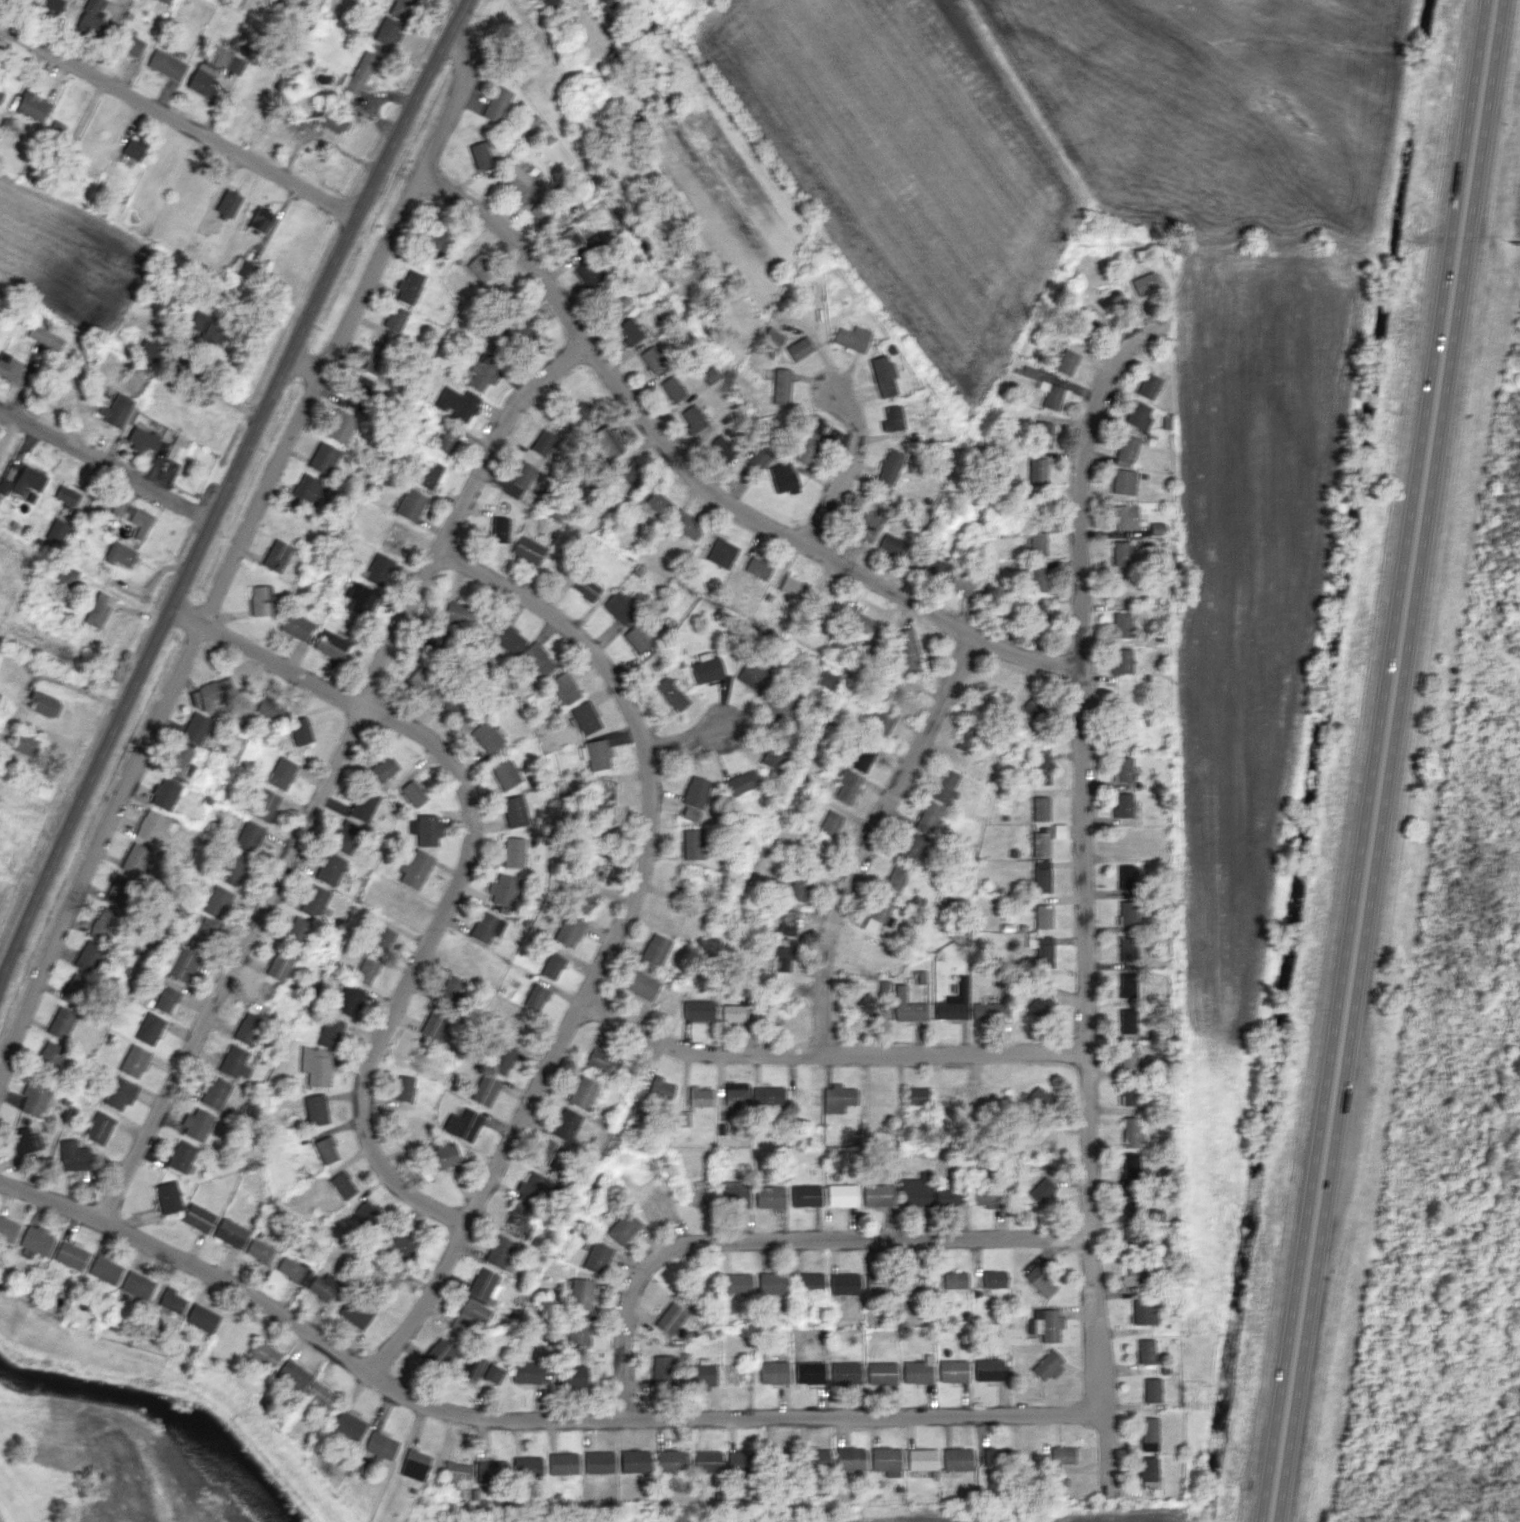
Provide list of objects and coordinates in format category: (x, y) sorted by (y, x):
road: (463, 105)
road: (410, 106)
road: (178, 119)
road: (403, 166)
crop: (1513, 200)
road: (206, 385)
road: (106, 459)
road: (847, 471)
road: (705, 484)
road: (175, 596)
crop: (11, 598)
road: (200, 630)
road: (687, 739)
road: (1385, 761)
road: (335, 771)
road: (873, 837)
crop: (16, 850)
road: (467, 865)
road: (1086, 890)
road: (615, 941)
road: (831, 1055)
road: (786, 1238)
road: (522, 1417)

